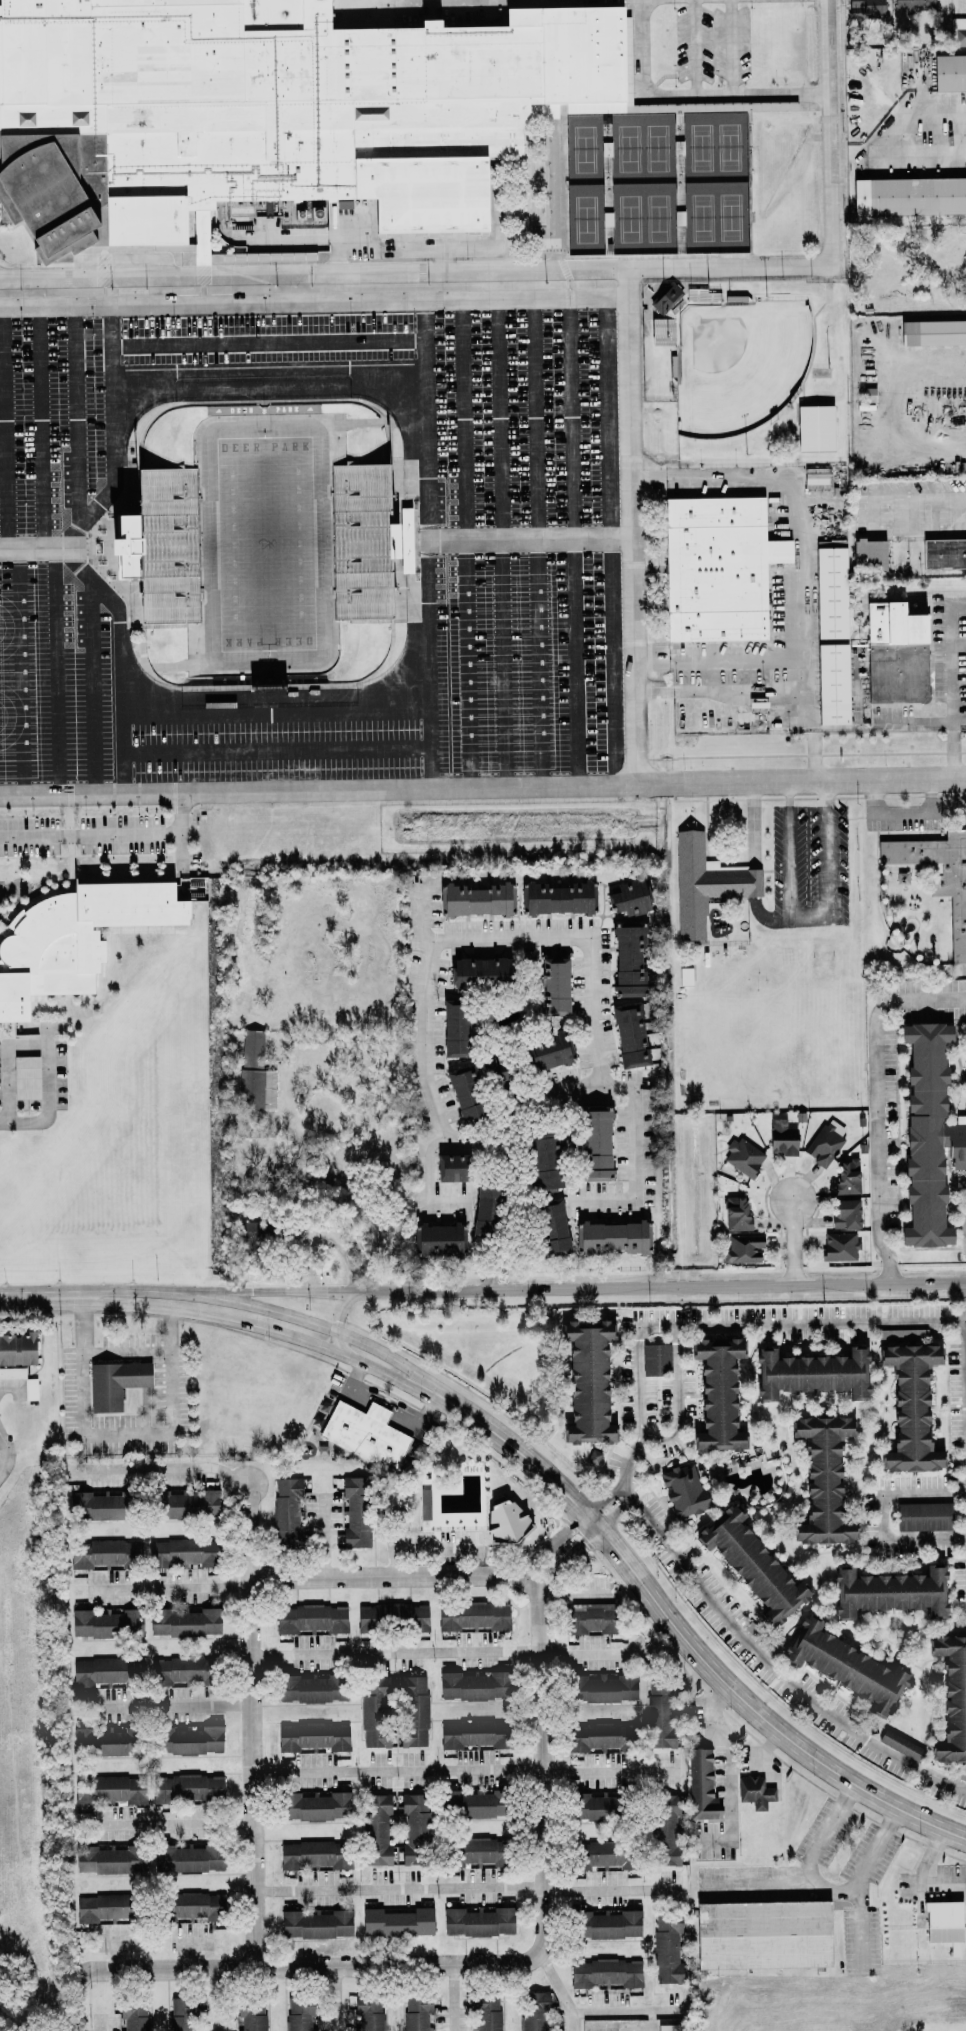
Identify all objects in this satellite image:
building: (913, 4)
building: (863, 7)
building: (959, 30)
road: (696, 47)
road: (732, 47)
building: (949, 72)
road: (668, 75)
road: (687, 96)
building: (271, 110)
road: (887, 139)
building: (605, 148)
building: (908, 196)
road: (554, 197)
road: (547, 268)
building: (701, 295)
building: (665, 298)
road: (314, 301)
building: (662, 331)
building: (932, 332)
road: (815, 333)
road: (269, 342)
park: (740, 363)
road: (270, 370)
stadium: (750, 370)
road: (113, 421)
road: (76, 427)
building: (814, 427)
road: (4, 428)
road: (43, 428)
road: (403, 466)
building: (814, 477)
road: (919, 503)
road: (632, 525)
road: (121, 531)
road: (530, 539)
building: (362, 540)
building: (402, 540)
road: (576, 540)
road: (612, 540)
road: (542, 541)
stadium: (266, 542)
road: (466, 542)
road: (503, 542)
park: (266, 543)
road: (429, 543)
building: (170, 544)
building: (132, 546)
road: (39, 550)
building: (944, 553)
building: (868, 554)
building: (717, 568)
road: (797, 574)
building: (830, 589)
road: (958, 644)
building: (895, 654)
road: (120, 665)
road: (18, 672)
road: (56, 672)
road: (950, 680)
building: (832, 684)
road: (93, 686)
road: (276, 714)
road: (959, 718)
road: (913, 719)
road: (277, 750)
road: (817, 779)
road: (334, 788)
road: (905, 810)
road: (753, 825)
road: (180, 833)
road: (90, 834)
road: (790, 850)
road: (825, 863)
building: (939, 876)
building: (705, 883)
building: (557, 896)
building: (473, 897)
building: (627, 897)
road: (757, 908)
road: (580, 937)
building: (75, 939)
building: (626, 959)
building: (477, 971)
building: (684, 975)
building: (552, 985)
road: (424, 1011)
road: (42, 1027)
building: (453, 1027)
building: (628, 1035)
building: (543, 1052)
road: (6, 1063)
building: (254, 1073)
building: (24, 1077)
building: (466, 1086)
road: (634, 1089)
road: (48, 1096)
road: (876, 1101)
building: (927, 1135)
building: (781, 1136)
road: (493, 1139)
building: (594, 1143)
building: (824, 1145)
building: (741, 1156)
building: (542, 1158)
building: (449, 1167)
building: (846, 1176)
building: (735, 1213)
building: (843, 1213)
building: (550, 1227)
building: (609, 1236)
building: (437, 1239)
road: (793, 1241)
building: (838, 1245)
building: (742, 1248)
road: (568, 1286)
road: (41, 1296)
road: (211, 1297)
road: (965, 1300)
road: (344, 1306)
road: (802, 1320)
road: (265, 1328)
building: (891, 1334)
road: (343, 1349)
road: (128, 1350)
building: (16, 1354)
road: (393, 1356)
building: (655, 1358)
building: (809, 1372)
building: (585, 1380)
building: (113, 1382)
road: (356, 1386)
building: (29, 1388)
building: (716, 1393)
road: (2, 1394)
building: (908, 1407)
road: (379, 1410)
road: (417, 1417)
building: (364, 1433)
road: (661, 1439)
road: (126, 1444)
road: (15, 1455)
building: (592, 1456)
road: (170, 1467)
building: (821, 1479)
building: (682, 1488)
road: (605, 1495)
building: (184, 1504)
building: (424, 1504)
building: (353, 1511)
building: (287, 1512)
road: (618, 1512)
road: (882, 1515)
building: (923, 1515)
building: (504, 1521)
road: (564, 1546)
building: (181, 1552)
building: (750, 1564)
road: (393, 1575)
road: (175, 1588)
building: (887, 1591)
road: (572, 1596)
building: (472, 1615)
building: (391, 1616)
building: (587, 1618)
building: (184, 1621)
building: (104, 1623)
road: (685, 1638)
road: (750, 1643)
road: (443, 1653)
building: (844, 1666)
building: (175, 1669)
building: (104, 1671)
building: (473, 1685)
building: (310, 1687)
building: (602, 1687)
building: (950, 1697)
road: (165, 1706)
building: (412, 1710)
building: (374, 1711)
road: (250, 1725)
building: (471, 1733)
building: (311, 1736)
building: (592, 1736)
building: (186, 1740)
building: (900, 1744)
road: (539, 1763)
road: (463, 1770)
road: (731, 1777)
building: (700, 1785)
building: (186, 1787)
building: (108, 1789)
building: (754, 1792)
building: (313, 1805)
building: (587, 1807)
building: (376, 1823)
road: (169, 1826)
building: (414, 1828)
building: (664, 1830)
building: (474, 1850)
road: (814, 1851)
building: (313, 1854)
building: (597, 1854)
building: (187, 1857)
building: (108, 1859)
road: (760, 1882)
road: (466, 1886)
road: (859, 1888)
building: (191, 1907)
building: (94, 1908)
building: (476, 1920)
building: (395, 1922)
building: (606, 1923)
building: (315, 1924)
building: (943, 1924)
building: (762, 1934)
building: (666, 1947)
road: (192, 1955)
road: (115, 1957)
road: (309, 1967)
building: (604, 1972)
road: (454, 1998)
road: (219, 1999)
road: (335, 1999)
road: (79, 2001)
building: (485, 2010)
building: (533, 2010)
road: (592, 2010)
building: (416, 2012)
building: (179, 2013)
building: (250, 2013)
building: (298, 2014)
building: (132, 2015)
road: (653, 2020)
road: (574, 2021)
building: (665, 2027)
building: (315, 2030)

